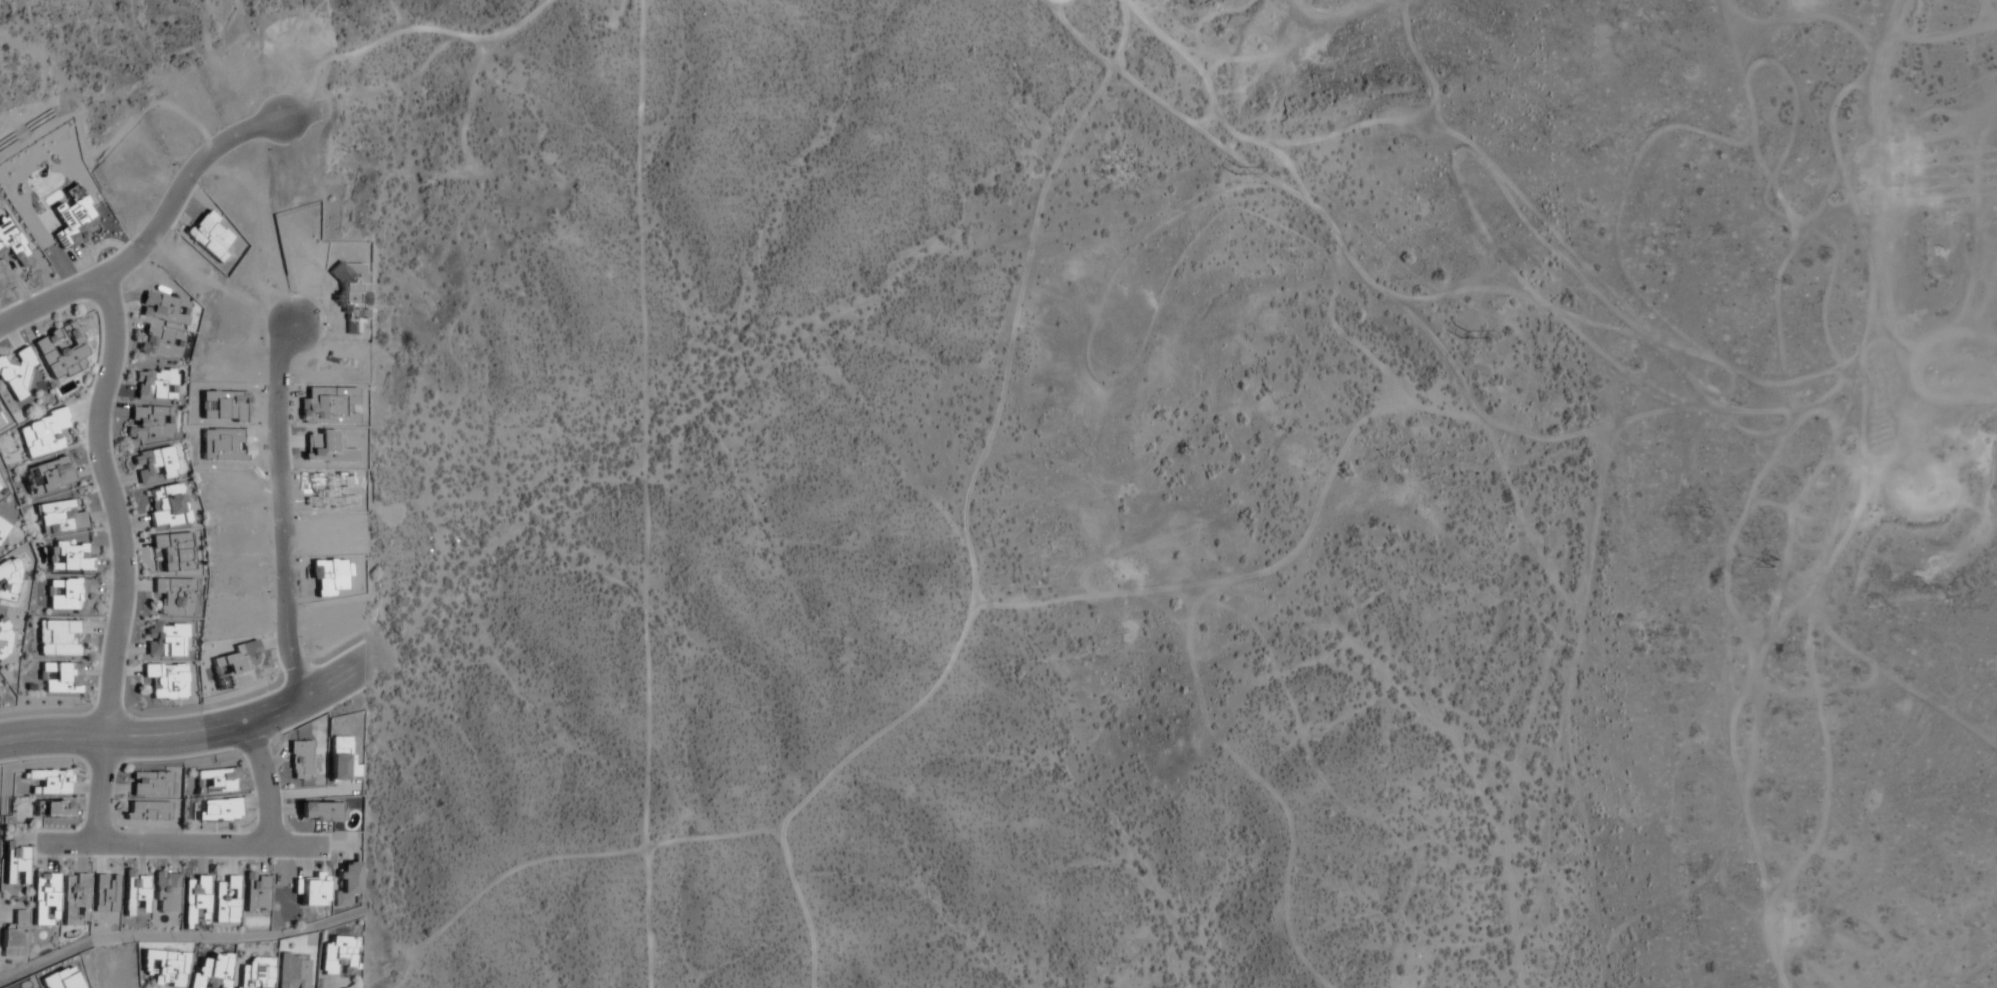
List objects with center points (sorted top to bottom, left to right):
road: (1058, 0)
road: (1357, 4)
road: (438, 31)
road: (1106, 75)
power tower: (1236, 170)
road: (202, 178)
road: (1861, 233)
building: (14, 246)
building: (0, 285)
road: (71, 296)
building: (164, 309)
power tower: (1463, 334)
building: (160, 342)
building: (61, 351)
building: (15, 375)
building: (155, 384)
road: (1494, 421)
building: (150, 422)
building: (42, 434)
building: (154, 465)
building: (47, 476)
building: (0, 487)
road: (643, 494)
building: (168, 506)
building: (59, 517)
road: (295, 518)
building: (3, 529)
road: (967, 547)
building: (174, 551)
building: (70, 556)
road: (123, 560)
power tower: (1779, 563)
building: (9, 579)
building: (68, 594)
building: (175, 596)
building: (57, 638)
building: (166, 639)
building: (5, 642)
building: (62, 678)
building: (167, 680)
road: (312, 703)
road: (1567, 712)
road: (127, 740)
building: (341, 760)
building: (302, 761)
building: (215, 781)
building: (50, 782)
building: (150, 785)
road: (268, 788)
building: (50, 809)
building: (216, 811)
building: (319, 812)
road: (181, 845)
road: (577, 854)
road: (1288, 856)
building: (15, 865)
building: (348, 878)
building: (311, 891)
building: (165, 894)
building: (256, 894)
building: (136, 895)
building: (44, 900)
building: (75, 900)
building: (225, 901)
building: (195, 902)
building: (336, 954)
building: (162, 968)
building: (210, 971)
building: (254, 973)
building: (60, 979)

